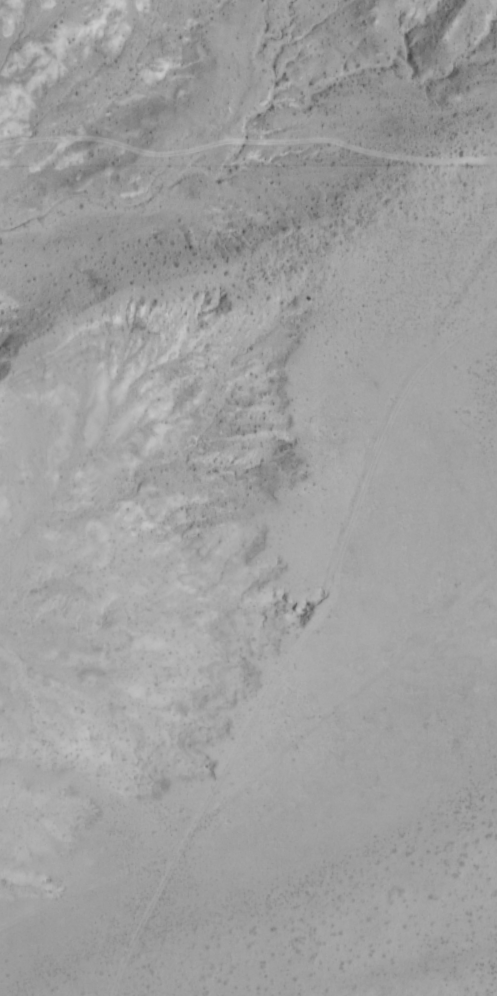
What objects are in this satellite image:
road: (445, 562)

